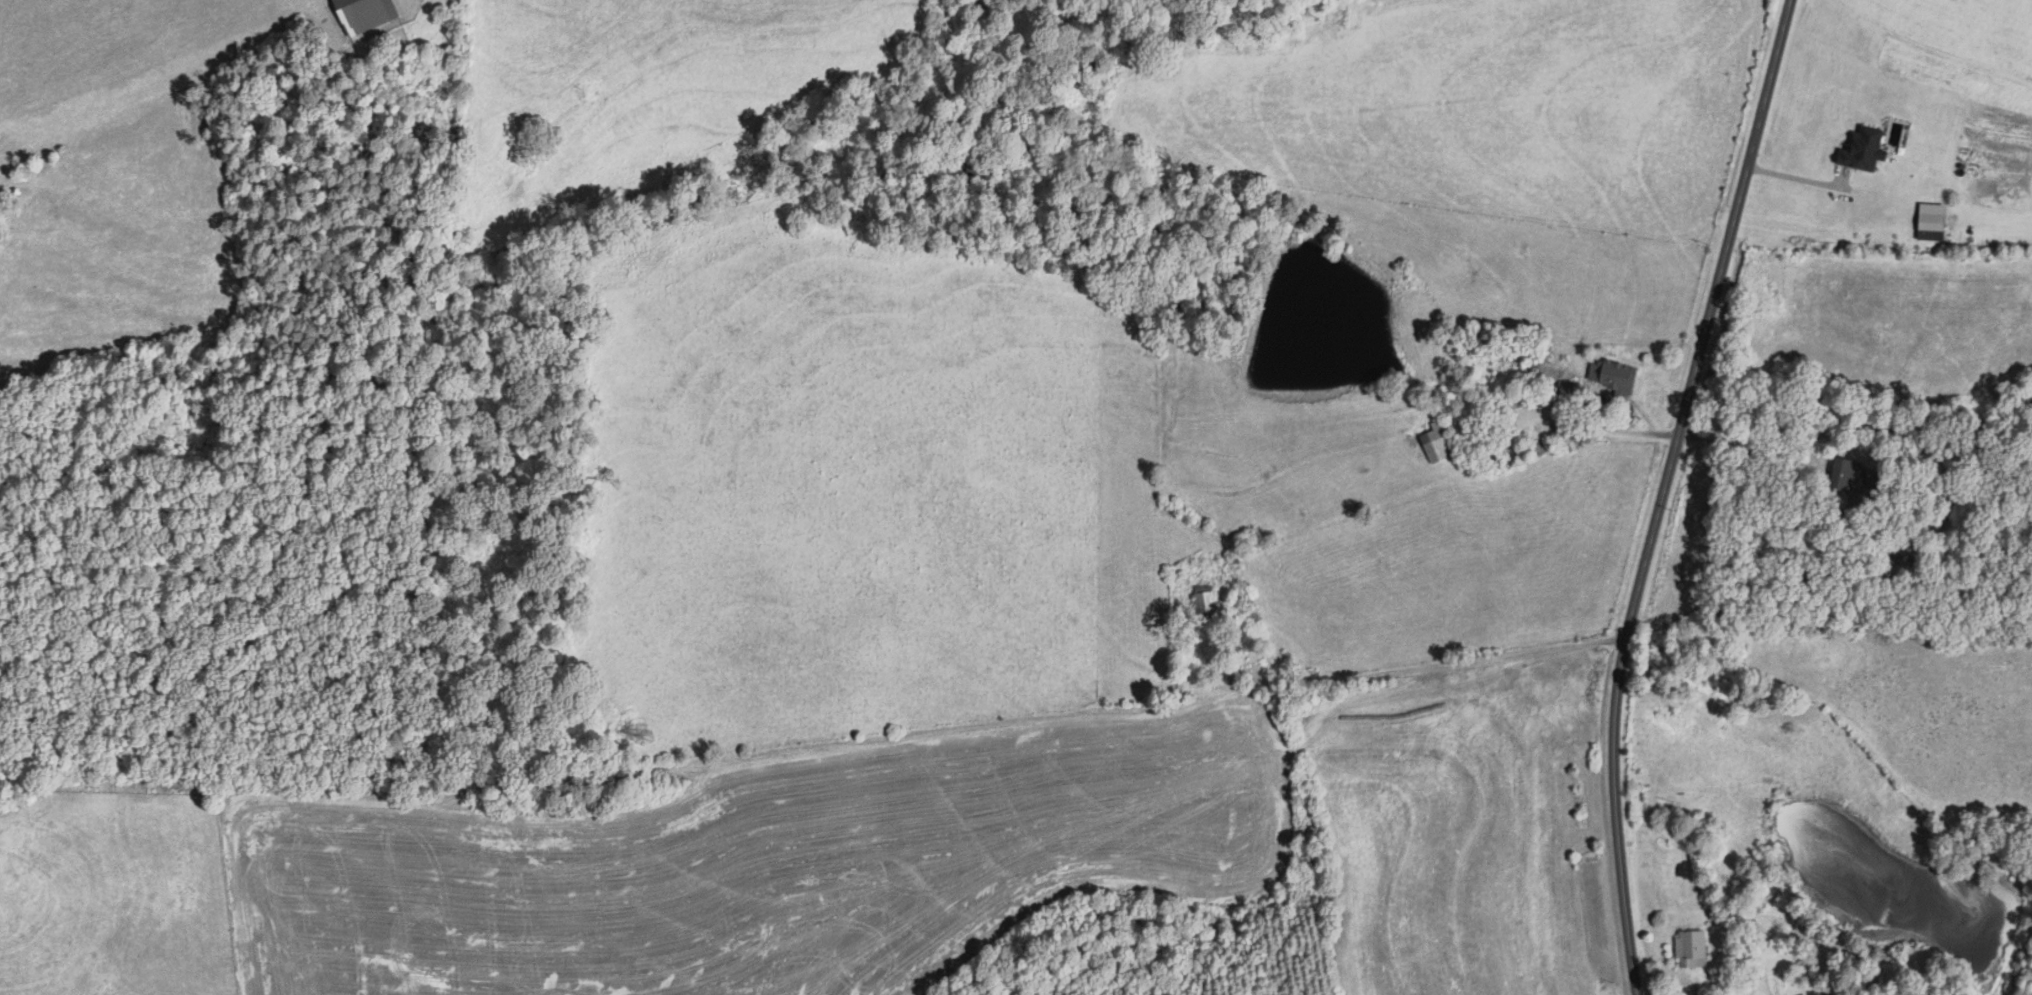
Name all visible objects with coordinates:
building: (364, 14)
road: (1802, 178)
building: (1615, 378)
building: (1575, 396)
road: (1570, 419)
building: (1438, 442)
road: (1765, 462)
building: (1848, 475)
road: (1659, 493)
building: (1900, 574)
building: (1205, 602)
road: (1439, 662)
building: (1691, 949)

